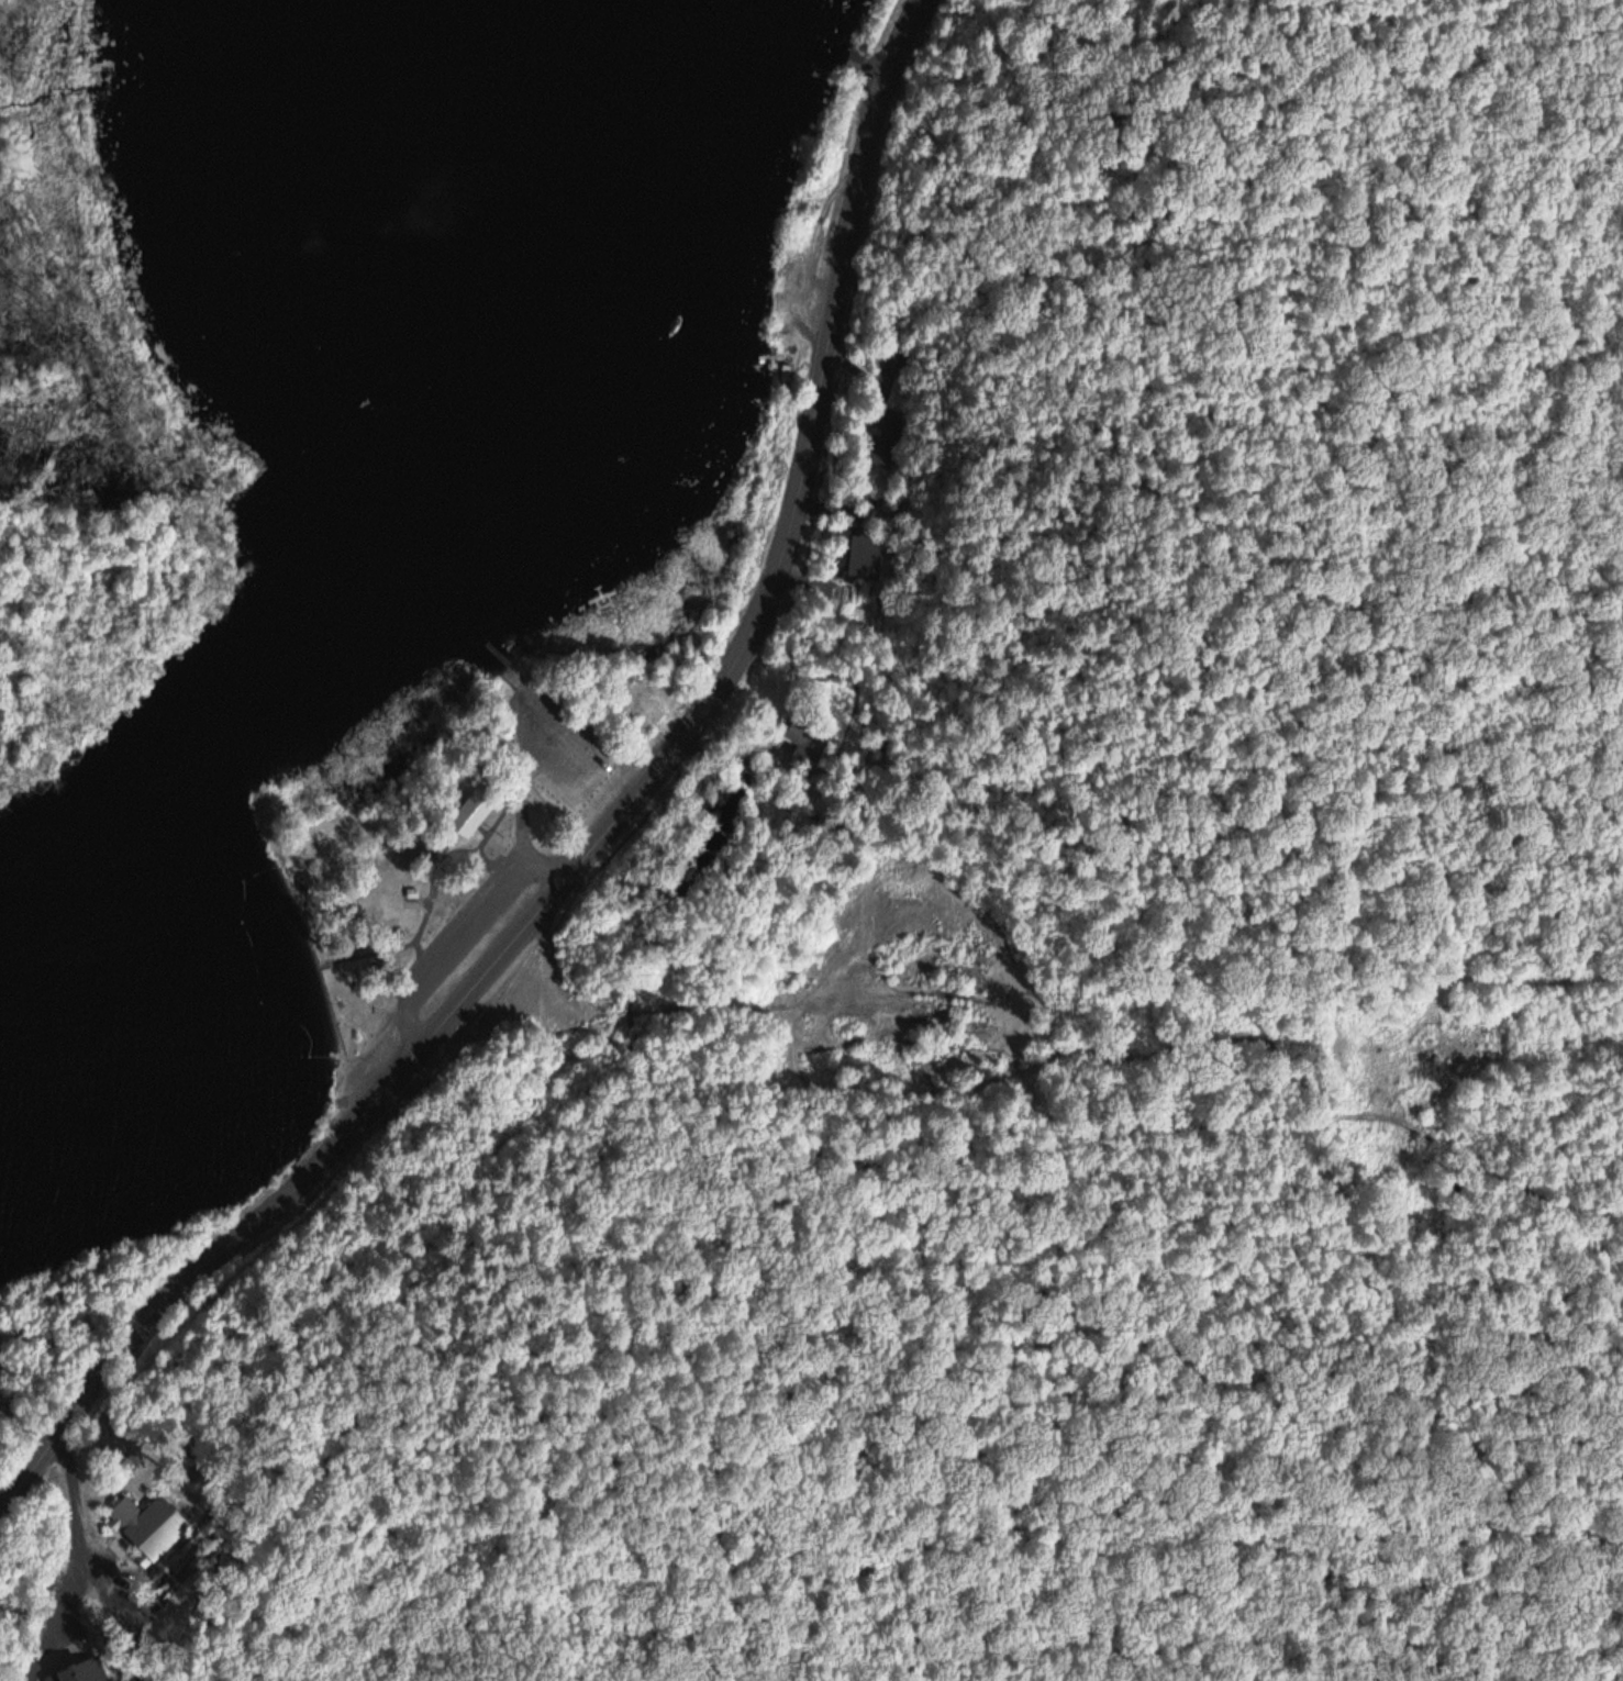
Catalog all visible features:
building: (854, 58)
building: (882, 450)
building: (470, 819)
road: (603, 834)
parking lot: (467, 932)
road: (476, 938)
building: (145, 1522)
road: (75, 1560)

